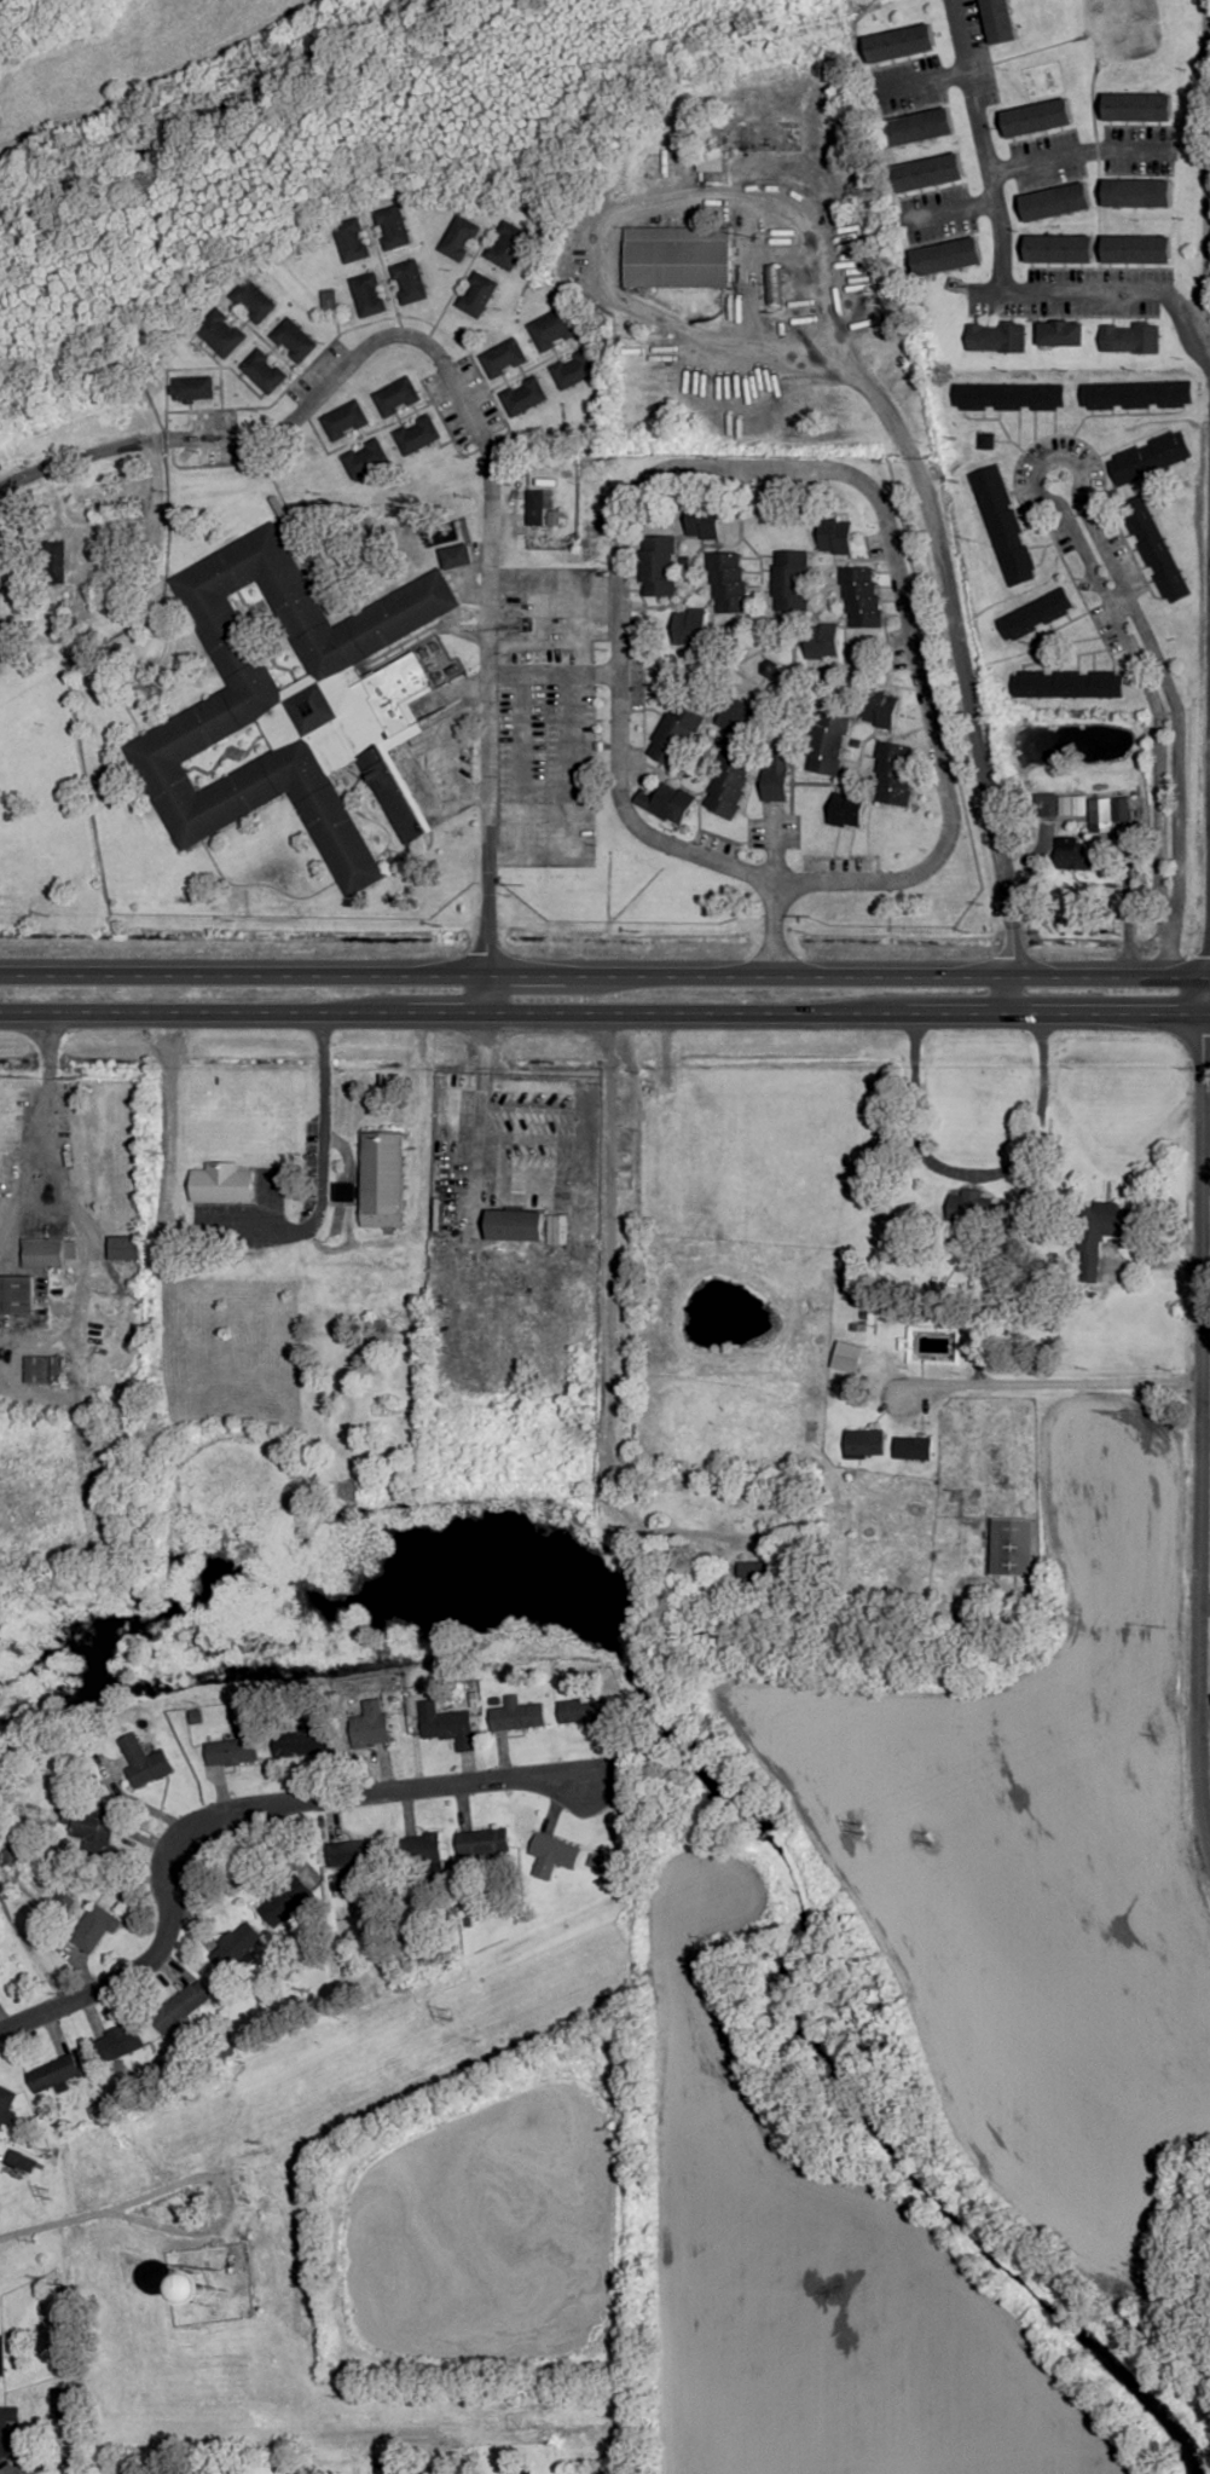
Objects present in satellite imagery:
building: (1000, 21)
building: (902, 42)
crop: (125, 63)
road: (925, 79)
building: (1141, 106)
building: (1040, 117)
building: (921, 126)
road: (1079, 152)
building: (711, 162)
building: (931, 172)
road: (1205, 187)
building: (1139, 193)
road: (697, 200)
building: (1058, 202)
road: (954, 209)
building: (393, 227)
building: (461, 237)
building: (352, 241)
building: (509, 244)
building: (1061, 249)
building: (1139, 249)
building: (678, 256)
building: (950, 256)
road: (1000, 259)
building: (410, 282)
road: (985, 291)
building: (369, 294)
building: (477, 294)
building: (330, 299)
building: (255, 301)
building: (552, 329)
building: (222, 333)
building: (1064, 334)
building: (997, 337)
building: (295, 339)
building: (1130, 339)
building: (503, 359)
building: (574, 370)
building: (265, 371)
building: (191, 391)
building: (1136, 393)
building: (523, 395)
building: (1008, 395)
building: (396, 397)
road: (470, 418)
building: (345, 420)
building: (417, 435)
building: (986, 440)
building: (1150, 457)
building: (365, 459)
road: (1035, 468)
road: (865, 493)
building: (540, 510)
building: (704, 521)
building: (1003, 526)
building: (835, 534)
building: (1156, 549)
building: (456, 556)
building: (75, 563)
building: (656, 566)
road: (943, 574)
building: (789, 580)
building: (728, 583)
building: (861, 596)
building: (1035, 613)
building: (689, 628)
building: (5, 634)
building: (822, 641)
building: (0, 667)
building: (769, 669)
building: (1067, 684)
building: (293, 704)
building: (880, 709)
parking lot: (545, 713)
building: (736, 719)
road: (440, 734)
building: (675, 734)
building: (827, 744)
building: (892, 774)
building: (776, 778)
building: (728, 781)
building: (666, 803)
building: (1052, 805)
building: (846, 809)
building: (1075, 854)
road: (769, 929)
road: (1166, 952)
road: (1205, 966)
road: (604, 977)
road: (487, 994)
road: (604, 1013)
building: (382, 1178)
road: (417, 1178)
building: (222, 1183)
road: (47, 1196)
building: (966, 1206)
building: (517, 1224)
building: (1101, 1232)
building: (125, 1247)
building: (47, 1252)
building: (17, 1294)
road: (598, 1330)
building: (44, 1368)
road: (990, 1387)
road: (1194, 1416)
building: (864, 1441)
building: (913, 1447)
building: (765, 1537)
building: (1011, 1545)
building: (584, 1710)
building: (517, 1713)
building: (371, 1723)
building: (447, 1724)
building: (296, 1745)
building: (231, 1751)
building: (144, 1761)
road: (242, 1820)
building: (88, 1830)
building: (484, 1842)
building: (338, 1845)
building: (424, 1850)
building: (552, 1855)
building: (288, 1898)
building: (60, 1903)
building: (94, 1929)
building: (236, 1946)
building: (181, 2006)
building: (121, 2042)
building: (54, 2074)
building: (7, 2105)
road: (175, 2187)
road: (50, 2227)
building: (1, 2355)
building: (59, 2403)
building: (4, 2432)

